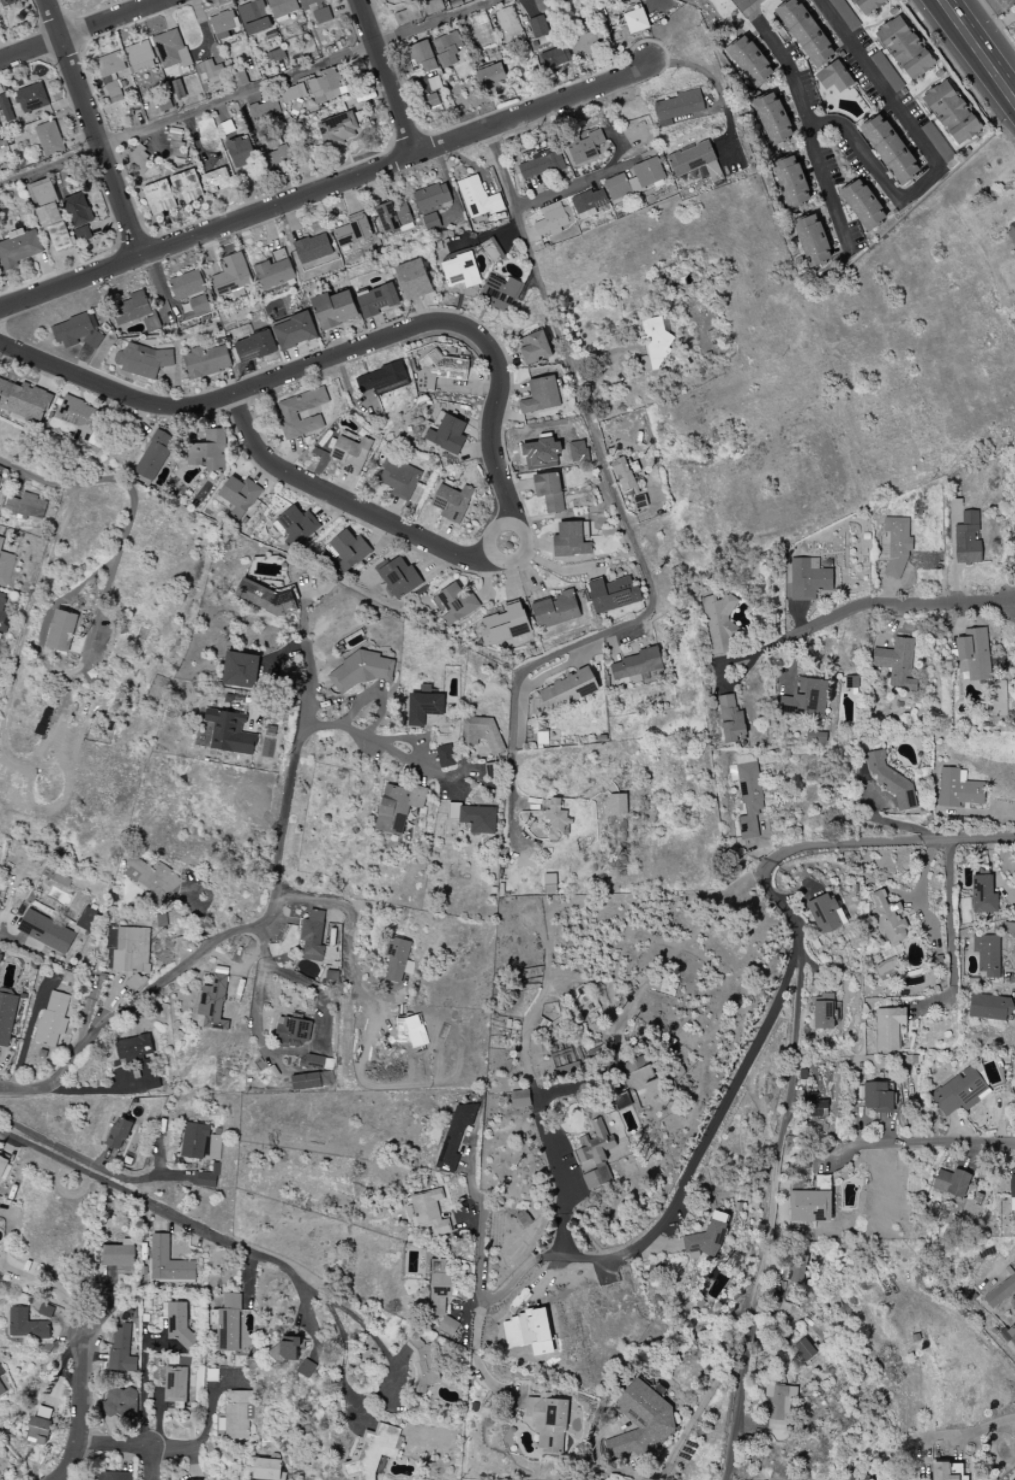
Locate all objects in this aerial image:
building: (310, 5)
building: (867, 6)
building: (431, 7)
building: (283, 8)
building: (844, 14)
building: (546, 15)
building: (322, 16)
building: (404, 17)
building: (254, 18)
building: (634, 21)
road: (434, 22)
building: (507, 22)
road: (998, 23)
building: (223, 24)
road: (81, 30)
building: (805, 32)
building: (586, 44)
road: (980, 46)
building: (905, 48)
building: (171, 49)
building: (448, 50)
building: (275, 55)
building: (140, 56)
building: (421, 56)
building: (555, 57)
building: (749, 61)
building: (109, 66)
building: (208, 72)
building: (886, 72)
road: (386, 76)
building: (491, 77)
building: (834, 77)
road: (713, 81)
building: (326, 85)
building: (178, 90)
building: (114, 92)
building: (291, 94)
road: (238, 97)
building: (31, 98)
building: (678, 107)
building: (5, 109)
building: (264, 112)
building: (951, 113)
building: (772, 119)
road: (806, 120)
road: (94, 128)
building: (343, 128)
building: (49, 139)
building: (937, 142)
building: (585, 147)
building: (890, 149)
building: (240, 151)
road: (931, 155)
building: (276, 158)
building: (695, 161)
building: (541, 164)
road: (51, 166)
building: (635, 179)
building: (217, 181)
building: (791, 182)
road: (576, 184)
building: (186, 188)
road: (325, 188)
building: (159, 197)
building: (432, 197)
building: (478, 199)
building: (588, 203)
building: (862, 205)
building: (49, 214)
building: (78, 216)
building: (393, 216)
building: (553, 221)
building: (431, 222)
building: (1012, 230)
building: (353, 232)
building: (812, 241)
building: (312, 248)
building: (20, 249)
building: (275, 270)
building: (460, 271)
building: (231, 275)
building: (414, 280)
building: (187, 285)
building: (376, 301)
building: (198, 305)
building: (131, 309)
building: (334, 309)
building: (77, 331)
building: (294, 331)
building: (654, 344)
building: (255, 347)
building: (534, 348)
building: (142, 360)
building: (206, 361)
building: (440, 370)
road: (298, 372)
building: (383, 379)
road: (115, 390)
building: (541, 396)
building: (24, 401)
building: (289, 414)
building: (80, 419)
building: (447, 435)
building: (208, 451)
building: (577, 451)
building: (540, 453)
building: (350, 454)
building: (154, 456)
building: (399, 479)
building: (549, 492)
building: (240, 495)
building: (452, 502)
building: (639, 503)
building: (26, 507)
road: (132, 508)
road: (625, 519)
road: (491, 531)
building: (570, 540)
building: (967, 540)
building: (0, 542)
building: (896, 544)
building: (348, 548)
road: (523, 552)
building: (5, 568)
building: (399, 578)
building: (808, 579)
building: (613, 594)
building: (264, 597)
building: (455, 604)
road: (898, 605)
building: (4, 609)
building: (555, 610)
building: (718, 624)
building: (505, 625)
building: (62, 631)
building: (974, 655)
road: (305, 656)
building: (897, 663)
building: (636, 665)
building: (240, 670)
building: (361, 671)
building: (568, 690)
building: (805, 698)
building: (423, 708)
building: (730, 719)
building: (43, 722)
building: (229, 732)
building: (481, 732)
building: (445, 756)
building: (891, 782)
building: (958, 789)
building: (617, 804)
building: (398, 807)
building: (453, 811)
building: (555, 818)
building: (478, 819)
road: (991, 873)
building: (55, 877)
building: (151, 879)
building: (549, 884)
road: (922, 887)
building: (983, 895)
road: (274, 900)
building: (825, 913)
building: (86, 919)
building: (888, 919)
building: (166, 922)
building: (1008, 928)
road: (351, 929)
building: (46, 932)
road: (950, 935)
building: (312, 936)
building: (131, 950)
building: (987, 954)
building: (398, 959)
road: (797, 965)
building: (134, 982)
building: (214, 1001)
building: (989, 1008)
building: (824, 1013)
building: (6, 1017)
building: (53, 1020)
building: (890, 1028)
building: (291, 1030)
building: (133, 1048)
road: (286, 1053)
building: (564, 1062)
building: (149, 1074)
building: (639, 1074)
building: (305, 1081)
road: (75, 1090)
building: (960, 1092)
building: (877, 1098)
building: (520, 1099)
building: (621, 1101)
building: (815, 1106)
building: (118, 1133)
building: (454, 1136)
building: (195, 1140)
road: (918, 1143)
building: (214, 1148)
building: (601, 1156)
road: (85, 1161)
building: (3, 1163)
building: (208, 1177)
building: (951, 1182)
building: (1012, 1187)
road: (565, 1189)
building: (809, 1206)
road: (159, 1209)
building: (1013, 1209)
building: (430, 1212)
road: (646, 1237)
building: (707, 1237)
building: (119, 1255)
building: (168, 1263)
building: (796, 1272)
road: (48, 1284)
road: (247, 1284)
building: (440, 1287)
building: (1000, 1292)
building: (45, 1311)
road: (310, 1319)
building: (26, 1325)
building: (229, 1325)
building: (528, 1332)
park: (604, 1333)
building: (1009, 1334)
building: (285, 1349)
building: (121, 1350)
building: (803, 1351)
road: (475, 1358)
building: (421, 1366)
building: (306, 1368)
road: (145, 1384)
building: (175, 1386)
road: (383, 1387)
building: (1, 1392)
park: (650, 1399)
road: (740, 1402)
building: (119, 1405)
building: (779, 1406)
road: (80, 1411)
building: (235, 1416)
building: (641, 1422)
building: (549, 1423)
road: (982, 1428)
building: (39, 1431)
road: (892, 1441)
road: (115, 1445)
building: (372, 1452)
road: (674, 1457)
road: (151, 1463)
building: (266, 1469)
building: (947, 1471)
building: (108, 1476)
building: (854, 1477)

